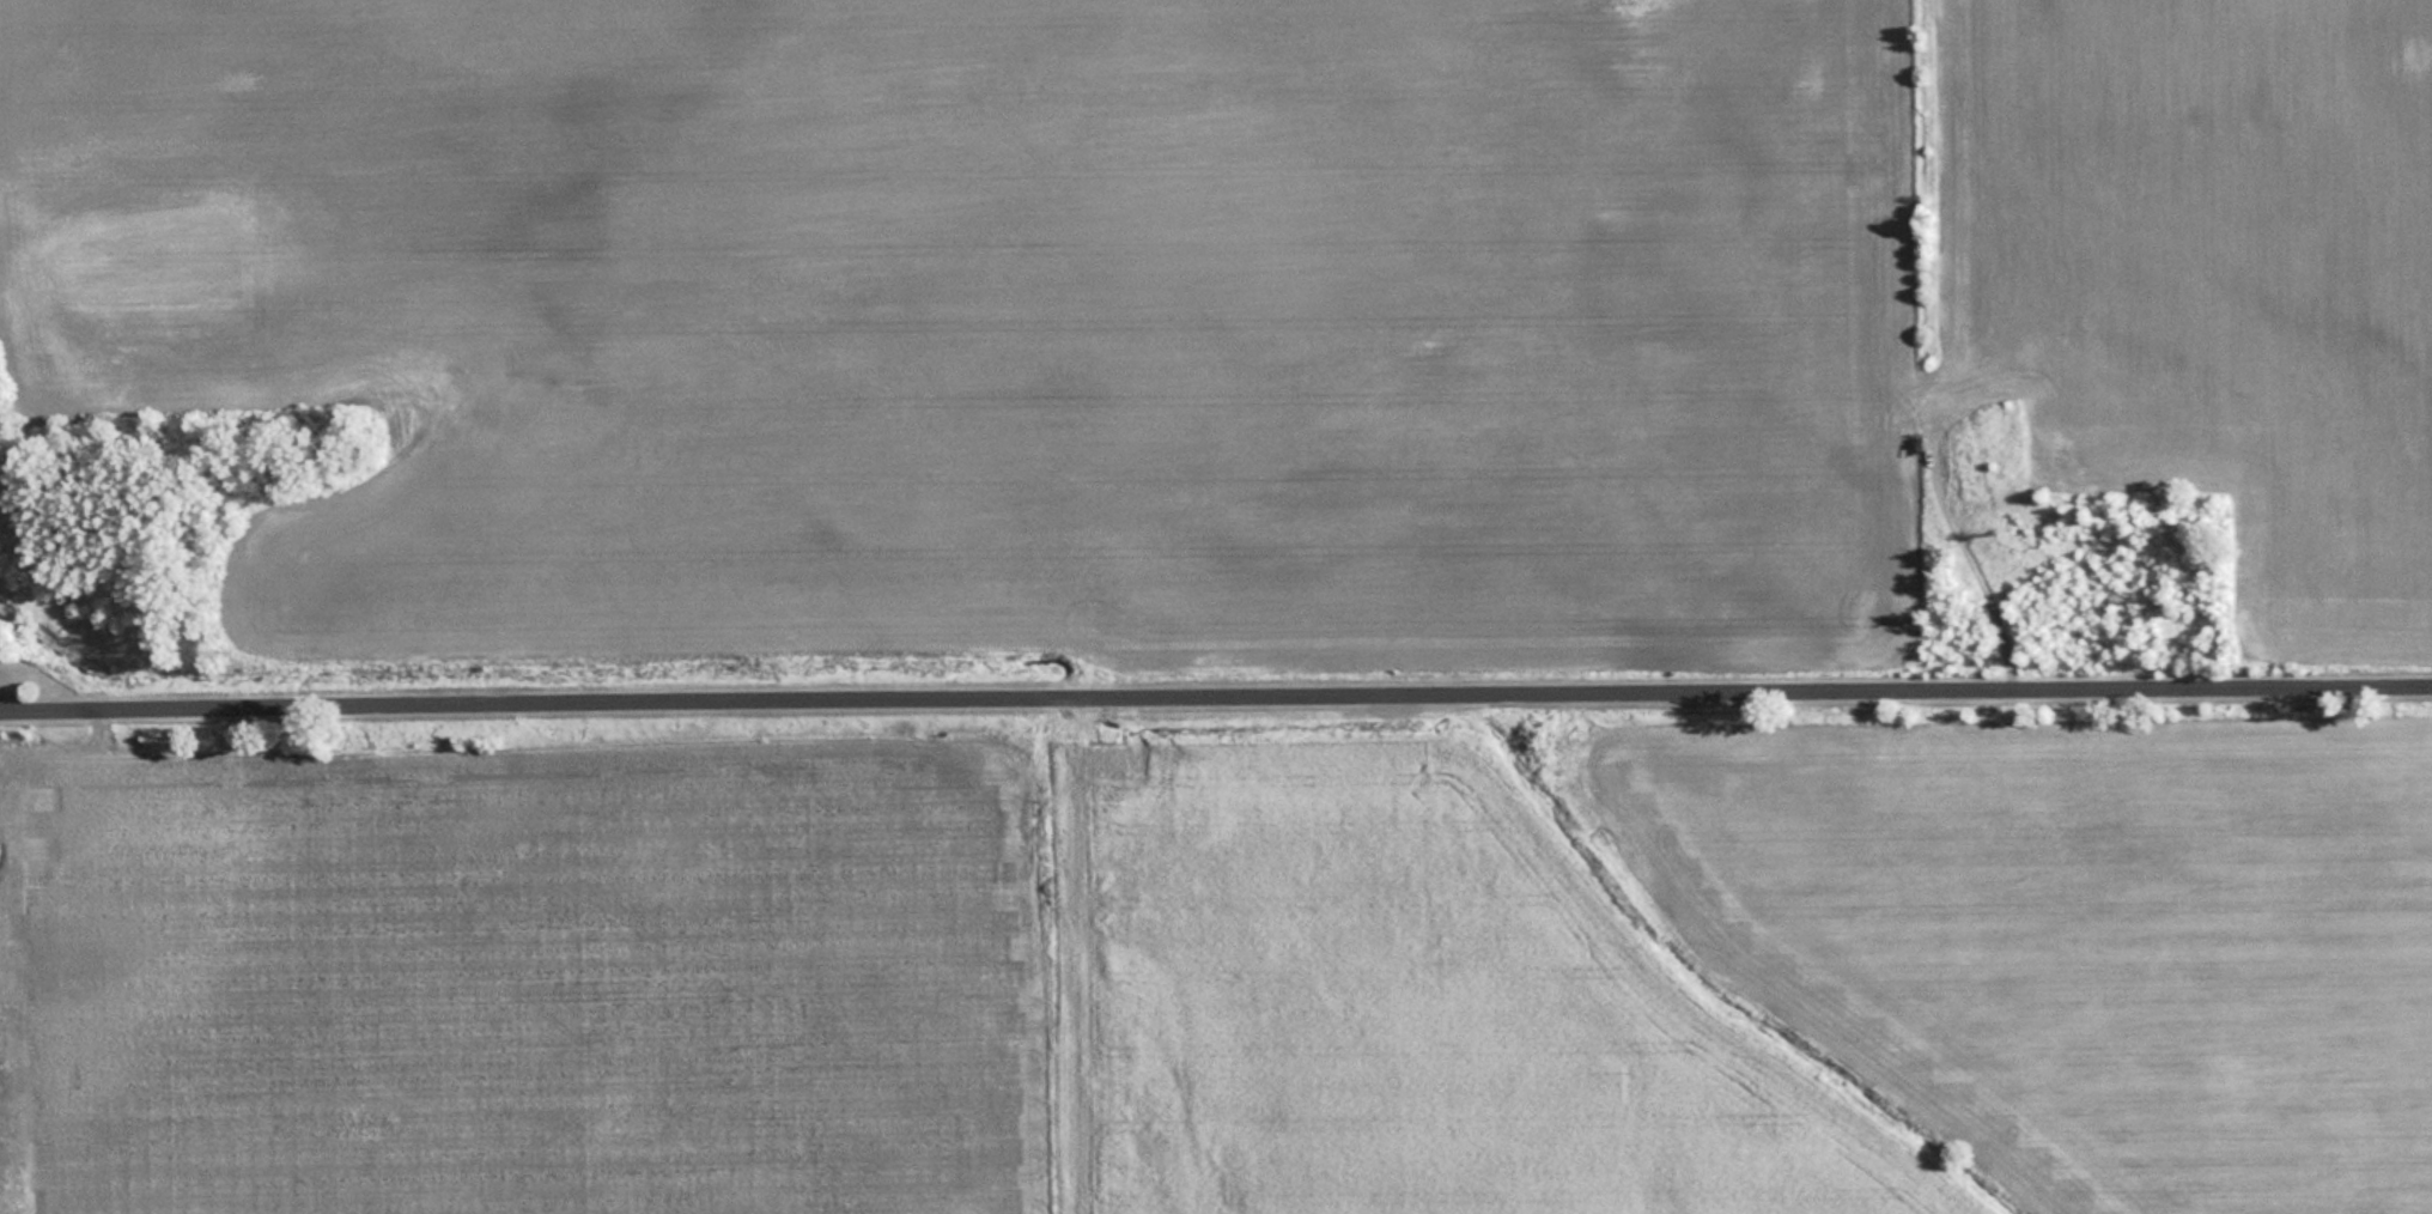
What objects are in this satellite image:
road: (1940, 350)
road: (1215, 700)

